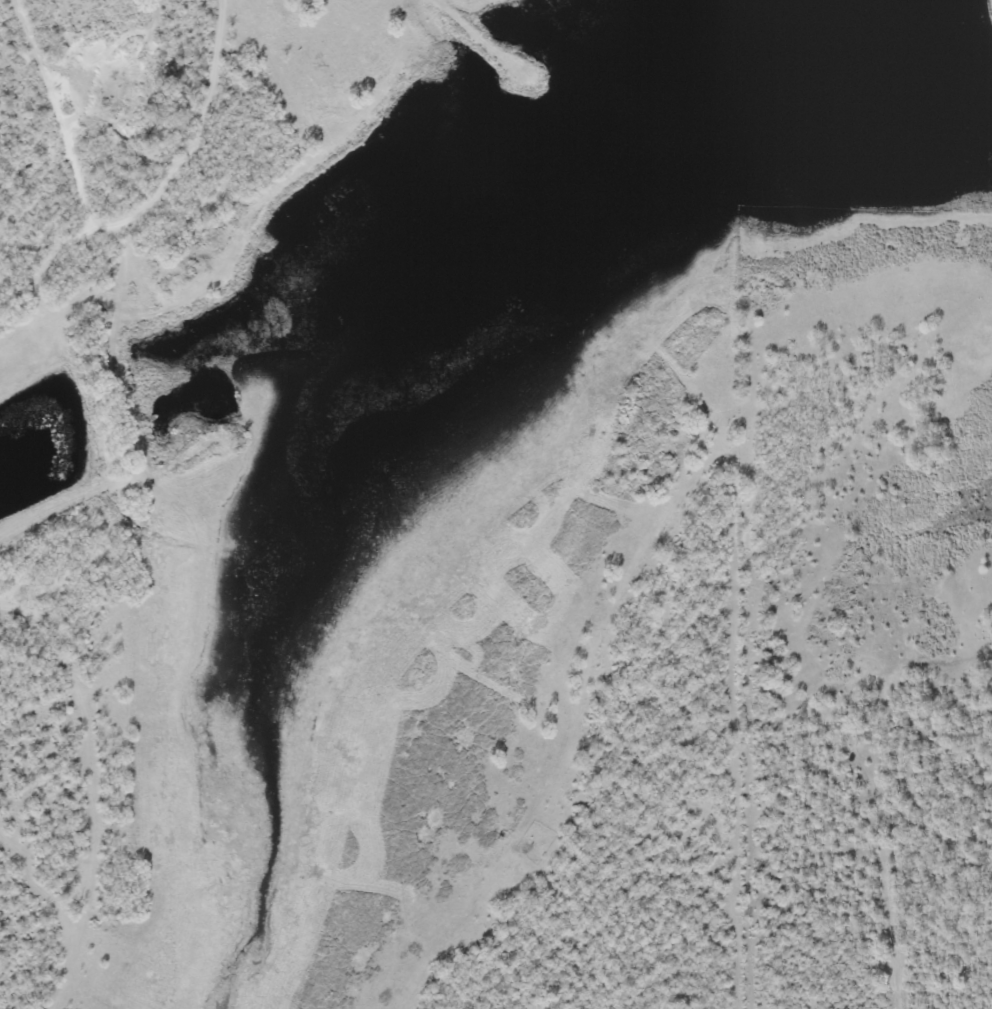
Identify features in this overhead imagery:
river: (991, 17)
river: (427, 378)

